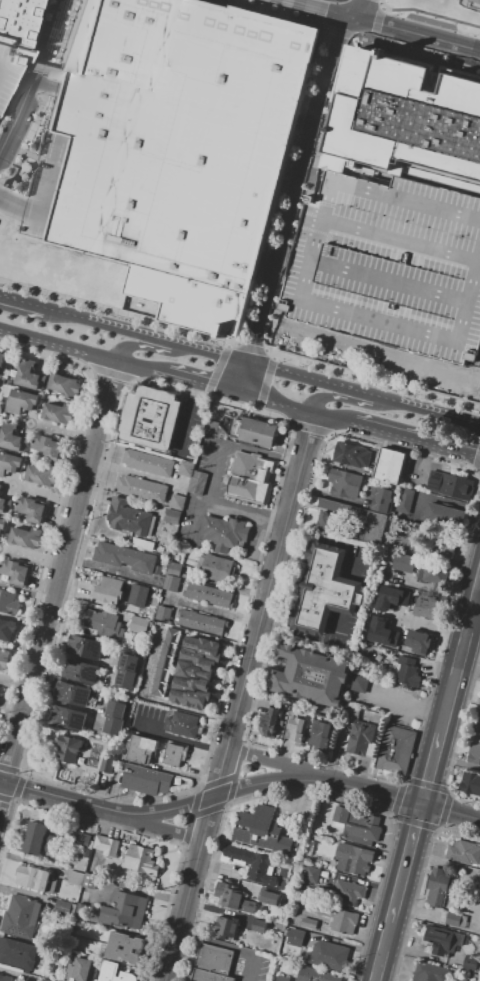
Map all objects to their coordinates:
building: (475, 1)
road: (381, 7)
road: (314, 8)
road: (352, 8)
road: (320, 13)
road: (428, 13)
road: (318, 20)
building: (14, 21)
road: (376, 22)
road: (321, 25)
road: (339, 31)
road: (412, 34)
road: (362, 37)
road: (372, 38)
building: (9, 68)
parking lot: (9, 68)
road: (37, 68)
road: (34, 81)
road: (23, 82)
building: (405, 120)
building: (172, 147)
parking lot: (170, 193)
road: (12, 201)
road: (291, 203)
building: (388, 266)
parking lot: (388, 266)
road: (14, 302)
road: (59, 341)
road: (176, 344)
road: (120, 358)
building: (2, 362)
road: (180, 374)
building: (29, 376)
building: (64, 385)
road: (359, 394)
road: (319, 398)
road: (276, 400)
building: (22, 401)
building: (57, 413)
road: (437, 414)
road: (332, 416)
building: (150, 418)
building: (262, 433)
building: (12, 437)
road: (414, 438)
building: (48, 448)
building: (352, 455)
building: (10, 463)
building: (148, 463)
building: (389, 466)
building: (187, 468)
building: (42, 475)
building: (250, 478)
building: (199, 482)
building: (345, 483)
building: (0, 485)
building: (450, 485)
building: (142, 488)
road: (48, 495)
building: (382, 500)
building: (405, 501)
building: (177, 502)
building: (5, 505)
building: (31, 510)
building: (173, 516)
building: (449, 517)
building: (129, 518)
building: (325, 522)
building: (2, 525)
building: (373, 527)
building: (225, 533)
building: (26, 538)
building: (142, 544)
building: (445, 546)
road: (294, 547)
road: (326, 556)
building: (125, 557)
building: (161, 559)
building: (404, 563)
road: (353, 565)
building: (174, 569)
building: (217, 569)
building: (157, 570)
building: (15, 572)
building: (432, 573)
road: (59, 580)
road: (270, 580)
road: (478, 581)
building: (171, 584)
building: (107, 589)
building: (325, 590)
building: (400, 592)
building: (138, 595)
building: (209, 595)
road: (345, 595)
building: (379, 596)
building: (9, 602)
building: (428, 612)
building: (164, 613)
road: (275, 617)
building: (200, 622)
building: (102, 623)
building: (139, 625)
road: (307, 625)
road: (336, 628)
building: (7, 629)
building: (382, 631)
building: (169, 634)
building: (419, 643)
building: (86, 648)
building: (165, 649)
building: (204, 650)
building: (4, 660)
building: (199, 660)
road: (458, 660)
building: (161, 662)
building: (127, 670)
building: (406, 671)
building: (82, 672)
building: (193, 672)
building: (158, 675)
building: (310, 675)
road: (15, 682)
building: (359, 683)
building: (193, 686)
building: (154, 688)
building: (75, 694)
building: (190, 699)
building: (479, 704)
road: (405, 706)
road: (189, 710)
building: (115, 717)
building: (70, 719)
building: (269, 722)
building: (182, 725)
building: (477, 726)
building: (296, 730)
building: (321, 735)
road: (179, 739)
building: (361, 740)
building: (70, 748)
building: (397, 750)
building: (155, 751)
building: (474, 755)
road: (280, 764)
building: (109, 765)
road: (431, 768)
road: (220, 772)
building: (145, 780)
road: (273, 782)
building: (470, 785)
road: (378, 791)
traffic signals: (423, 804)
road: (451, 811)
road: (106, 814)
road: (208, 818)
building: (359, 823)
road: (162, 829)
building: (262, 831)
building: (76, 838)
building: (38, 839)
building: (107, 846)
building: (85, 852)
building: (463, 852)
building: (141, 859)
building: (354, 859)
road: (407, 862)
building: (250, 863)
building: (314, 876)
building: (32, 877)
building: (76, 878)
building: (90, 881)
building: (439, 888)
building: (351, 891)
building: (265, 894)
building: (228, 895)
building: (63, 906)
building: (124, 910)
road: (183, 911)
building: (21, 916)
building: (339, 919)
building: (453, 922)
building: (308, 924)
building: (262, 927)
building: (226, 928)
building: (295, 937)
building: (440, 940)
building: (126, 941)
road: (226, 946)
road: (385, 951)
building: (18, 954)
building: (122, 955)
building: (327, 955)
building: (213, 964)
building: (469, 966)
building: (80, 970)
building: (430, 972)
building: (479, 972)
building: (115, 973)
building: (315, 975)
building: (5, 978)
building: (282, 978)
building: (47, 980)

